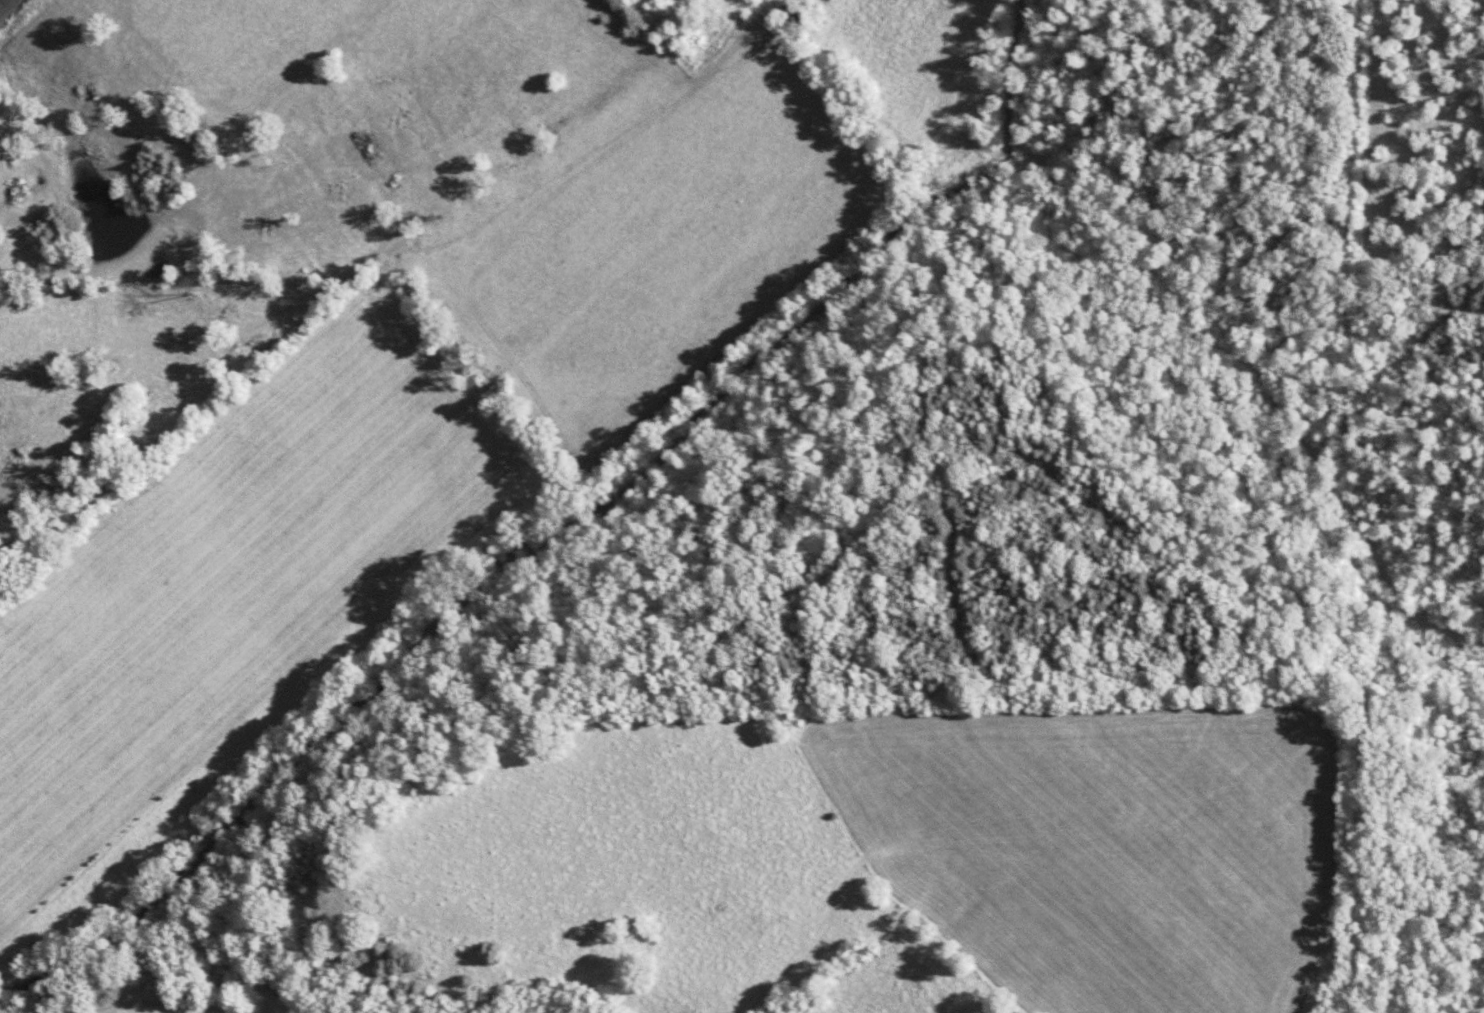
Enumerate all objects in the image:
railway: (1, 1)

